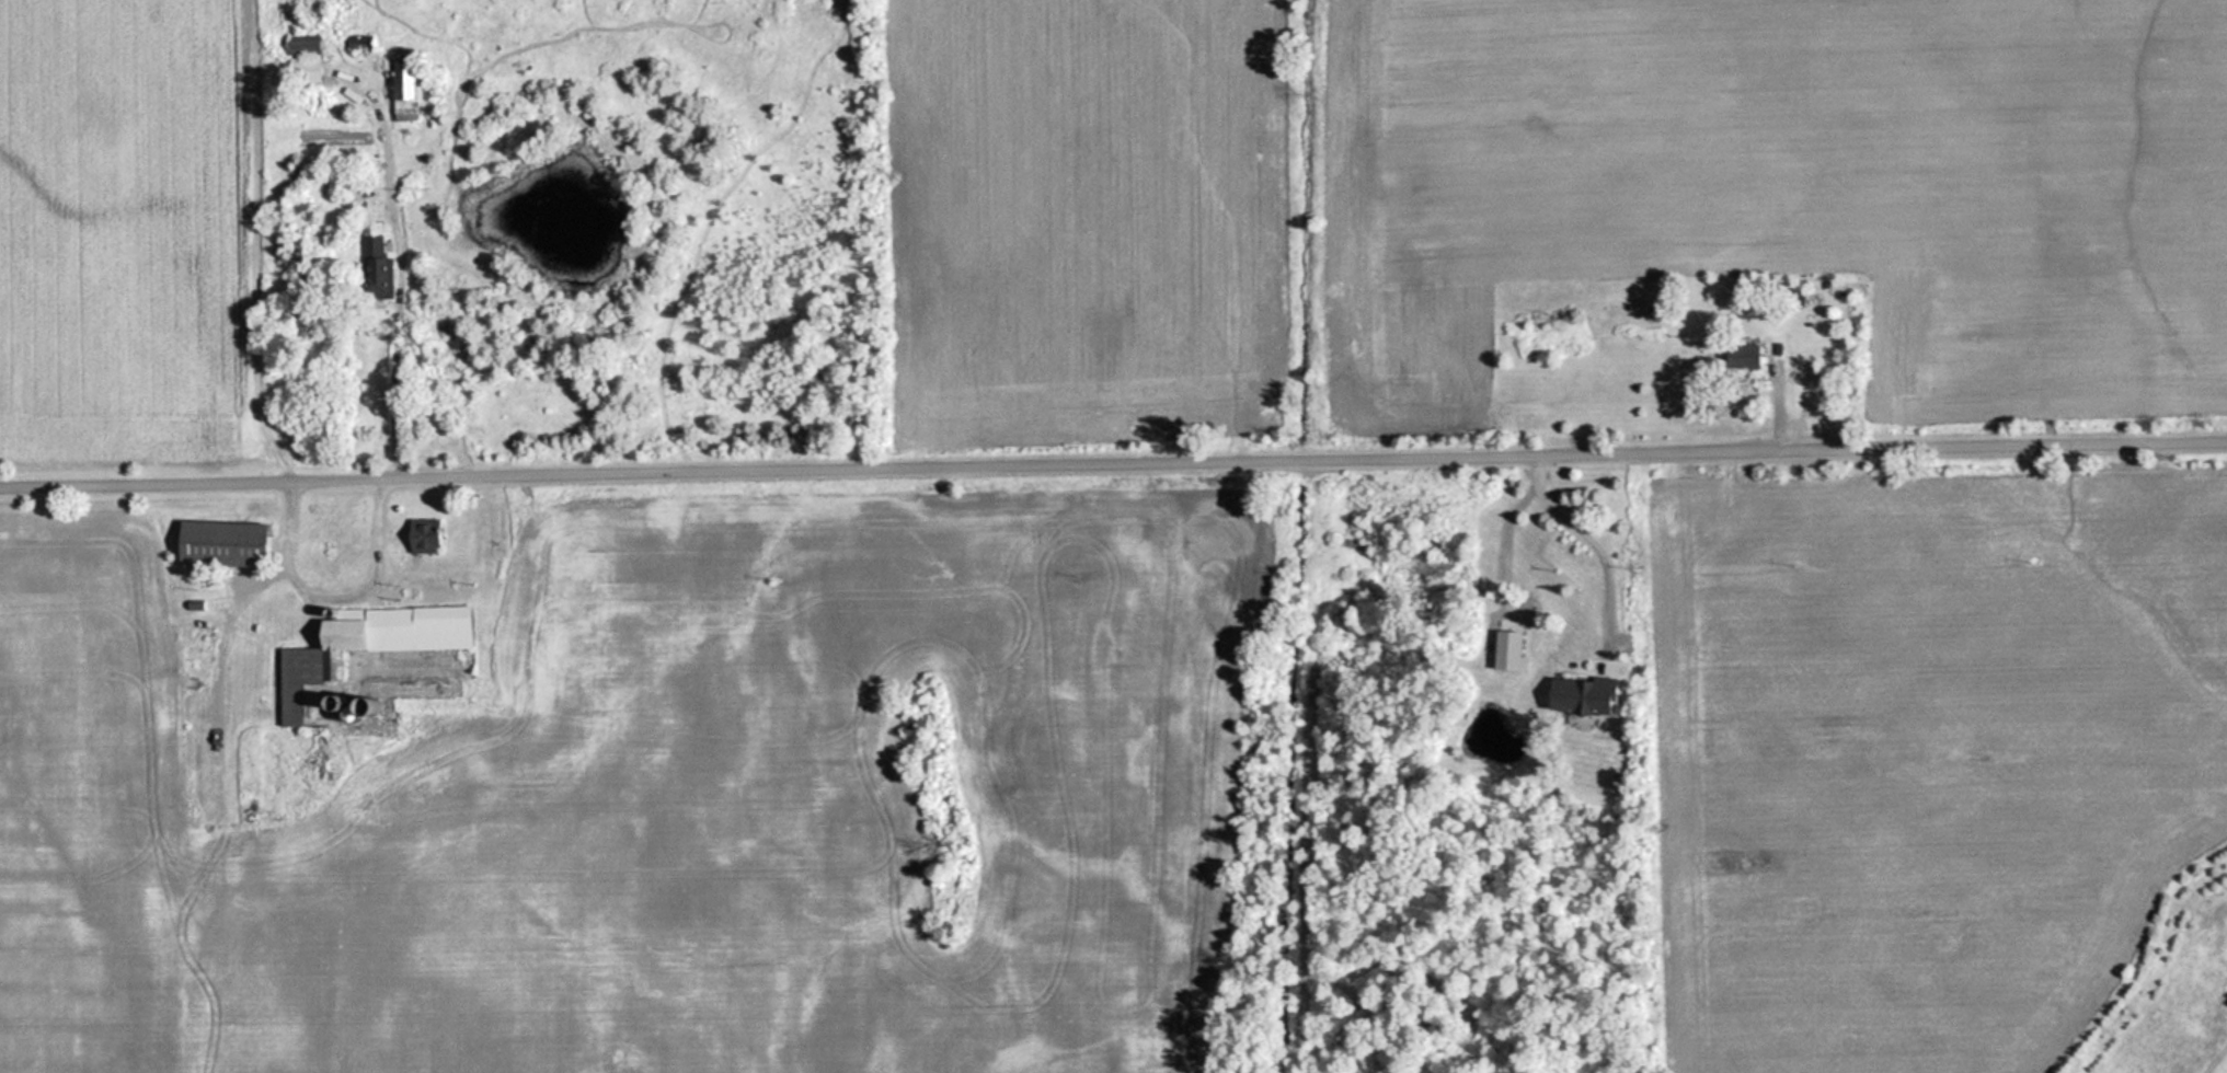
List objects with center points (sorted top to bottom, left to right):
building: (404, 89)
building: (375, 267)
building: (1801, 297)
building: (1737, 357)
road: (1113, 452)
building: (421, 535)
building: (215, 542)
building: (355, 656)
building: (1587, 696)

